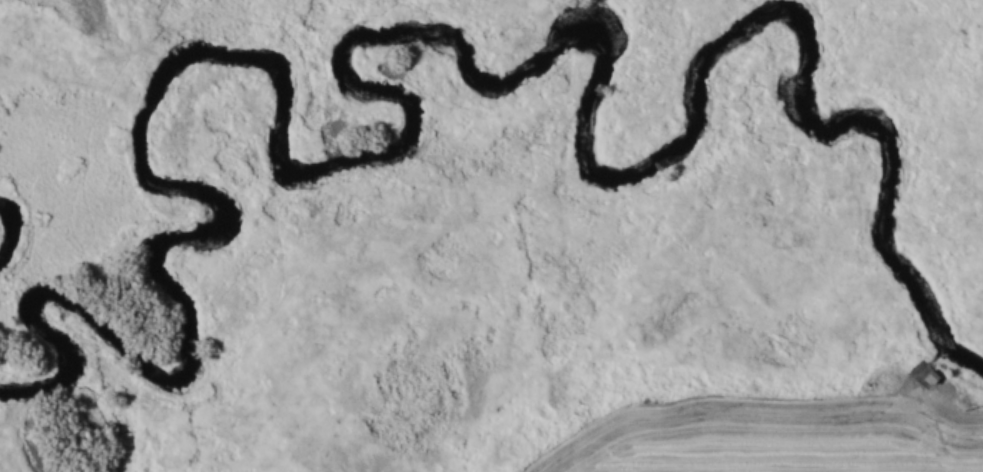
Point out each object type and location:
building: (930, 376)

